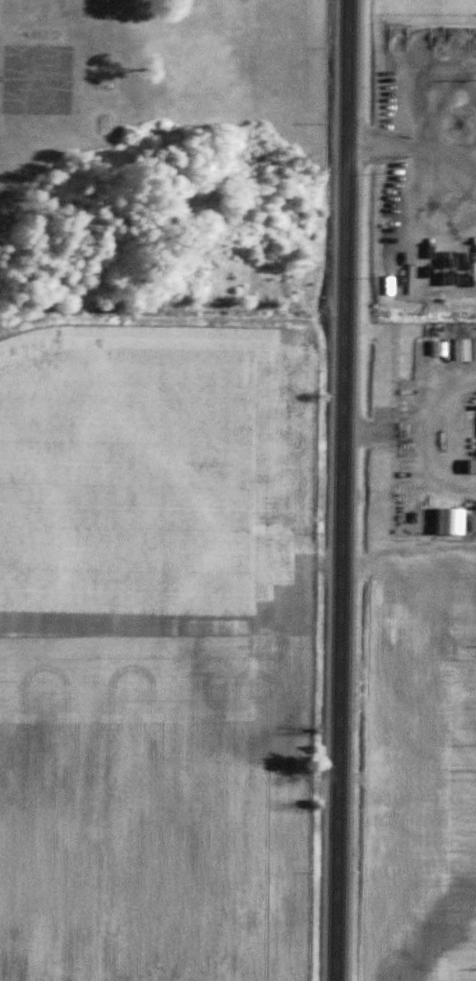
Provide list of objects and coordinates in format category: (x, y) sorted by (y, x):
building: (436, 335)
road: (345, 490)
building: (472, 525)

